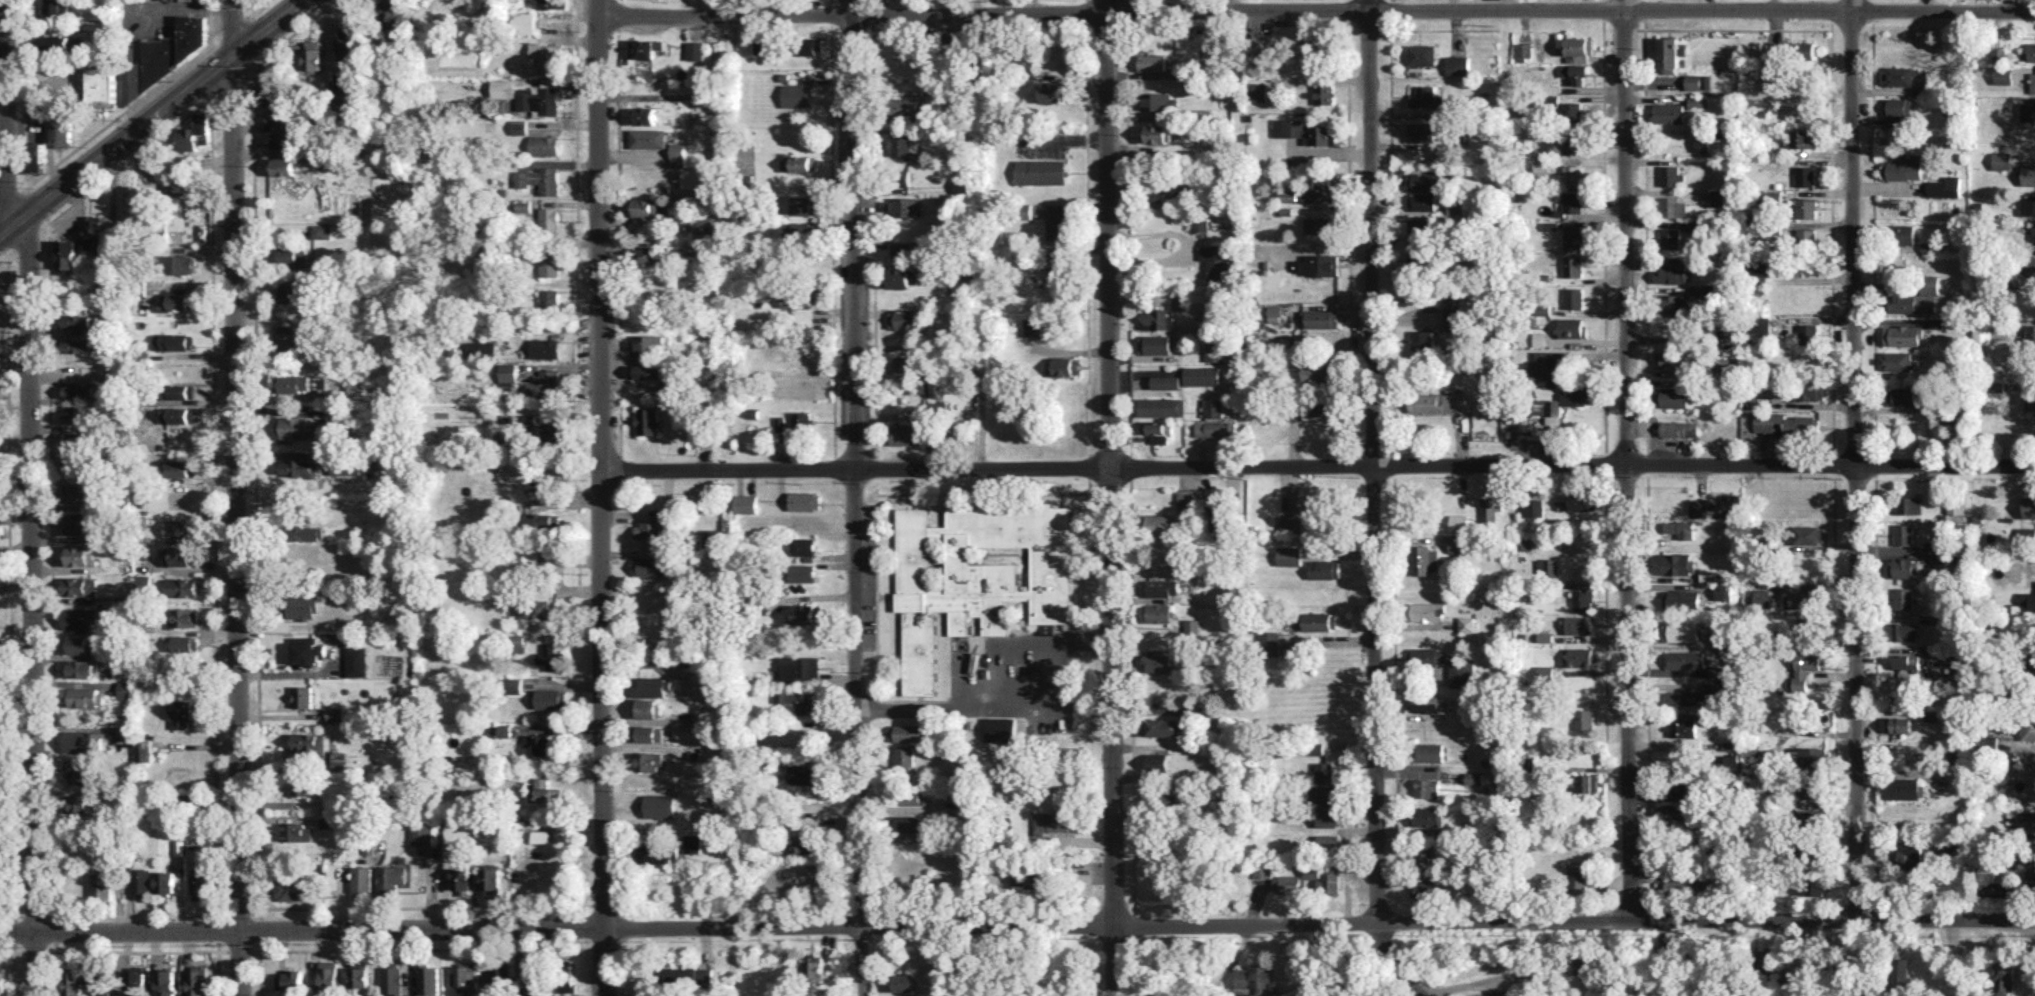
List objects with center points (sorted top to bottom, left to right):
building: (176, 0)
road: (4, 2)
building: (553, 3)
building: (56, 6)
road: (257, 7)
road: (1319, 9)
building: (393, 11)
building: (523, 22)
road: (232, 24)
building: (107, 31)
building: (953, 42)
building: (63, 43)
building: (348, 45)
building: (809, 45)
building: (1262, 45)
building: (761, 46)
building: (645, 47)
building: (173, 48)
building: (1579, 48)
building: (695, 49)
building: (1524, 49)
building: (1806, 50)
building: (2031, 51)
building: (1760, 53)
building: (314, 54)
building: (1421, 54)
building: (1672, 54)
building: (1998, 56)
building: (545, 57)
building: (1152, 62)
building: (1458, 65)
building: (1576, 73)
building: (1899, 75)
building: (2003, 75)
building: (131, 80)
building: (1694, 81)
building: (2033, 82)
building: (269, 83)
building: (103, 84)
building: (503, 88)
building: (1258, 89)
building: (339, 92)
building: (1050, 92)
building: (1325, 93)
building: (798, 95)
building: (1427, 97)
building: (541, 98)
building: (1159, 101)
building: (1696, 101)
building: (906, 109)
building: (1897, 110)
building: (2028, 111)
road: (9, 112)
building: (1572, 112)
building: (1669, 113)
building: (643, 115)
road: (152, 117)
building: (279, 117)
road: (109, 122)
building: (202, 122)
building: (1288, 126)
building: (519, 127)
building: (1424, 131)
building: (63, 133)
building: (1154, 133)
building: (1318, 134)
building: (648, 138)
building: (1804, 138)
building: (187, 139)
building: (281, 140)
building: (1703, 142)
building: (1572, 143)
building: (544, 144)
building: (902, 144)
building: (678, 154)
building: (36, 156)
building: (2002, 160)
building: (799, 162)
building: (283, 166)
building: (1905, 167)
building: (1041, 171)
building: (1573, 175)
building: (1671, 175)
building: (1805, 175)
building: (2028, 175)
building: (902, 177)
building: (694, 178)
building: (540, 179)
building: (1425, 181)
building: (961, 184)
building: (1323, 184)
building: (186, 187)
building: (1945, 187)
building: (1158, 194)
building: (1287, 195)
building: (1722, 197)
building: (1772, 197)
building: (1423, 201)
building: (1572, 203)
building: (804, 204)
building: (523, 205)
building: (906, 205)
building: (2028, 205)
building: (647, 206)
building: (1673, 206)
building: (1456, 207)
building: (1807, 207)
building: (549, 221)
building: (703, 223)
building: (1199, 223)
building: (1057, 224)
building: (1321, 224)
building: (1551, 225)
building: (1422, 226)
building: (800, 229)
building: (321, 230)
building: (95, 233)
building: (1903, 234)
building: (2033, 236)
building: (1573, 237)
building: (1670, 237)
building: (1807, 237)
road: (1185, 244)
building: (1930, 247)
building: (704, 249)
building: (903, 251)
building: (67, 253)
building: (289, 255)
building: (650, 255)
building: (1418, 257)
building: (550, 262)
building: (1216, 262)
building: (2029, 263)
building: (178, 264)
building: (1322, 265)
building: (1574, 265)
building: (1057, 266)
building: (1773, 268)
building: (1673, 272)
building: (900, 277)
building: (1930, 283)
building: (105, 285)
building: (292, 290)
building: (802, 294)
building: (1574, 297)
building: (549, 298)
building: (176, 301)
building: (1179, 301)
building: (1912, 302)
building: (1673, 303)
road: (1241, 308)
building: (1274, 313)
building: (1452, 314)
building: (1321, 318)
building: (906, 319)
building: (1159, 319)
building: (83, 321)
building: (1936, 322)
building: (1032, 326)
building: (1760, 326)
building: (1572, 327)
building: (1982, 332)
building: (1808, 333)
building: (1728, 334)
building: (2031, 334)
building: (1902, 335)
building: (286, 337)
building: (1423, 339)
building: (1540, 339)
building: (173, 341)
building: (647, 344)
building: (1154, 344)
building: (81, 345)
building: (545, 347)
building: (482, 348)
building: (1214, 352)
building: (1672, 359)
building: (1897, 360)
building: (1547, 362)
building: (905, 364)
building: (1066, 365)
building: (1726, 366)
building: (647, 370)
building: (1318, 370)
building: (1201, 375)
building: (508, 376)
building: (1165, 381)
building: (294, 383)
building: (545, 385)
building: (914, 388)
building: (84, 390)
building: (362, 390)
building: (1809, 390)
building: (180, 391)
building: (0, 392)
building: (1575, 394)
building: (1671, 396)
building: (1904, 396)
building: (2030, 398)
building: (1440, 402)
building: (1162, 406)
building: (1214, 407)
building: (1319, 407)
building: (1550, 409)
building: (79, 414)
building: (179, 415)
building: (337, 416)
building: (1955, 418)
building: (647, 420)
building: (802, 420)
building: (779, 423)
building: (1787, 424)
building: (295, 427)
building: (1156, 427)
building: (1215, 428)
building: (1674, 428)
building: (554, 431)
building: (906, 434)
building: (1160, 438)
building: (79, 439)
road: (1626, 459)
road: (1855, 460)
road: (1372, 461)
building: (72, 462)
building: (300, 467)
building: (177, 468)
road: (1319, 468)
road: (256, 485)
building: (80, 492)
road: (237, 498)
road: (604, 498)
road: (859, 498)
road: (1111, 498)
building: (1188, 498)
building: (804, 500)
building: (1579, 501)
building: (745, 503)
road: (214, 504)
building: (1909, 504)
building: (1728, 505)
building: (2029, 506)
building: (1532, 507)
building: (1699, 507)
building: (1956, 507)
building: (1491, 508)
building: (1318, 509)
building: (79, 521)
building: (541, 521)
building: (1459, 521)
building: (1158, 523)
building: (1290, 524)
building: (181, 528)
building: (1681, 528)
building: (655, 529)
building: (1939, 530)
building: (0, 531)
building: (303, 532)
building: (1903, 533)
building: (1807, 534)
building: (2026, 535)
building: (712, 537)
building: (1458, 542)
building: (805, 546)
building: (79, 555)
building: (1289, 555)
building: (182, 556)
building: (549, 556)
building: (1936, 557)
building: (1424, 559)
building: (1679, 563)
building: (1548, 565)
building: (651, 566)
building: (1903, 567)
building: (1324, 568)
building: (801, 572)
building: (977, 575)
building: (144, 583)
building: (81, 585)
building: (183, 586)
building: (1160, 587)
building: (1762, 597)
building: (1903, 597)
building: (1682, 598)
building: (1583, 599)
building: (1801, 599)
building: (2029, 600)
road: (34, 607)
building: (540, 608)
building: (1429, 611)
building: (1157, 612)
building: (807, 613)
building: (81, 617)
building: (185, 618)
building: (1318, 621)
building: (1467, 623)
building: (1579, 623)
building: (1192, 627)
building: (1806, 627)
building: (2033, 630)
building: (1683, 631)
building: (1902, 631)
building: (1545, 636)
building: (1723, 637)
road: (1010, 640)
building: (185, 642)
building: (518, 642)
building: (1269, 642)
building: (78, 644)
building: (307, 650)
building: (1426, 655)
building: (2034, 656)
building: (552, 657)
building: (1581, 657)
building: (1688, 659)
building: (357, 660)
building: (1906, 661)
building: (1157, 662)
building: (800, 667)
building: (1804, 667)
building: (79, 668)
building: (1717, 670)
building: (1545, 672)
building: (1463, 673)
building: (514, 684)
building: (1718, 685)
building: (649, 686)
building: (125, 689)
building: (85, 696)
building: (303, 696)
building: (1684, 697)
building: (552, 698)
building: (797, 700)
building: (1425, 702)
road: (996, 704)
building: (648, 707)
building: (183, 711)
building: (335, 713)
building: (1931, 715)
building: (1585, 719)
building: (1899, 724)
building: (1164, 726)
building: (1683, 727)
building: (2028, 728)
building: (498, 729)
building: (125, 732)
building: (907, 732)
building: (648, 733)
building: (80, 741)
building: (1990, 741)
building: (309, 743)
building: (539, 743)
building: (1730, 744)
building: (1313, 747)
building: (142, 749)
building: (1954, 749)
building: (1751, 750)
building: (1431, 752)
building: (904, 755)
building: (1813, 755)
building: (338, 757)
building: (648, 761)
building: (1157, 761)
building: (1728, 761)
building: (77, 767)
building: (1324, 771)
building: (806, 774)
building: (1474, 777)
building: (1, 779)
building: (1587, 783)
building: (307, 785)
building: (1680, 785)
building: (1426, 786)
building: (1812, 786)
building: (1903, 788)
building: (541, 791)
building: (1323, 794)
building: (908, 796)
building: (79, 803)
building: (659, 805)
building: (1675, 811)
building: (1427, 816)
building: (1811, 816)
building: (1326, 817)
building: (2026, 819)
building: (328, 821)
building: (1052, 821)
building: (911, 823)
building: (295, 832)
building: (420, 832)
building: (541, 836)
building: (1327, 841)
building: (693, 843)
building: (806, 843)
building: (179, 847)
building: (1957, 848)
building: (1907, 853)
building: (656, 854)
building: (1423, 858)
building: (1260, 869)
building: (1986, 870)
building: (2030, 872)
building: (1325, 876)
building: (1028, 877)
building: (461, 878)
building: (1577, 878)
building: (392, 879)
building: (166, 881)
building: (362, 881)
building: (491, 881)
building: (142, 882)
building: (102, 884)
building: (200, 884)
building: (1286, 884)
building: (1680, 886)
building: (1812, 886)
building: (291, 887)
building: (1425, 887)
road: (426, 905)
road: (238, 910)
road: (137, 913)
road: (7, 914)
road: (35, 914)
road: (1832, 920)
road: (814, 925)
road: (260, 928)
road: (219, 931)
road: (14, 932)
road: (56, 932)
road: (426, 947)
road: (137, 950)
road: (240, 950)
road: (7, 951)
road: (35, 951)
building: (1763, 959)
road: (1391, 962)
building: (566, 964)
building: (1581, 965)
building: (814, 968)
road: (261, 972)
road: (219, 973)
building: (360, 975)
building: (1899, 975)
building: (535, 976)
building: (688, 976)
building: (498, 977)
building: (328, 978)
building: (2003, 978)
building: (138, 979)
building: (290, 979)
building: (392, 979)
building: (428, 979)
building: (1253, 979)
building: (1792, 979)
building: (3, 980)
building: (465, 980)
building: (74, 981)
building: (102, 981)
building: (167, 982)
building: (901, 982)
building: (198, 983)
building: (568, 985)
building: (1489, 995)

